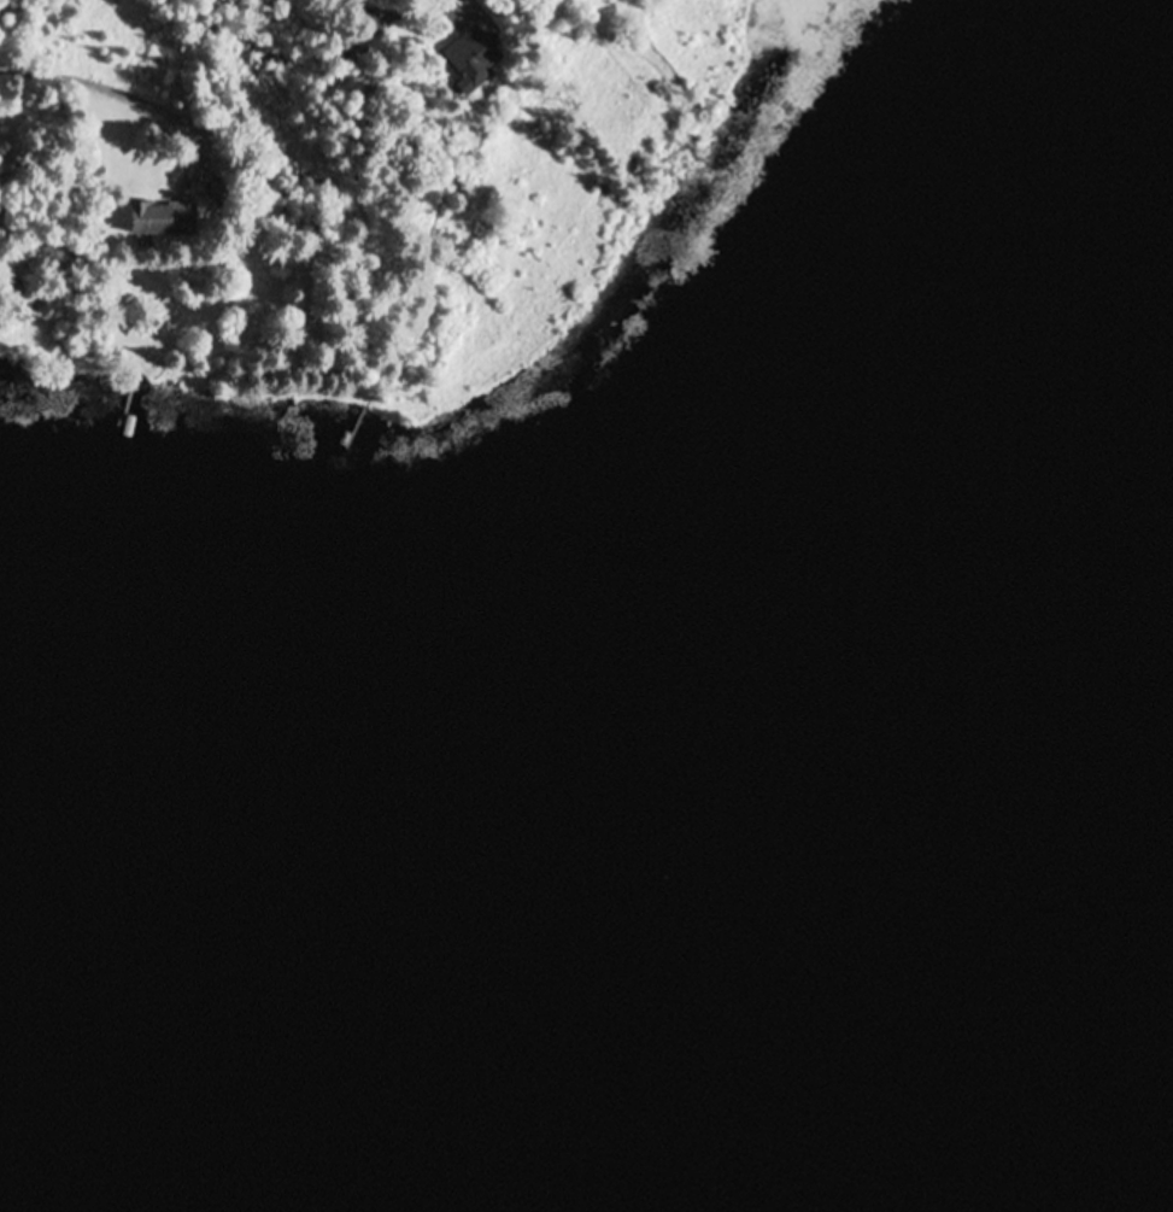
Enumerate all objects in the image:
building: (474, 59)
road: (84, 96)
building: (164, 218)

